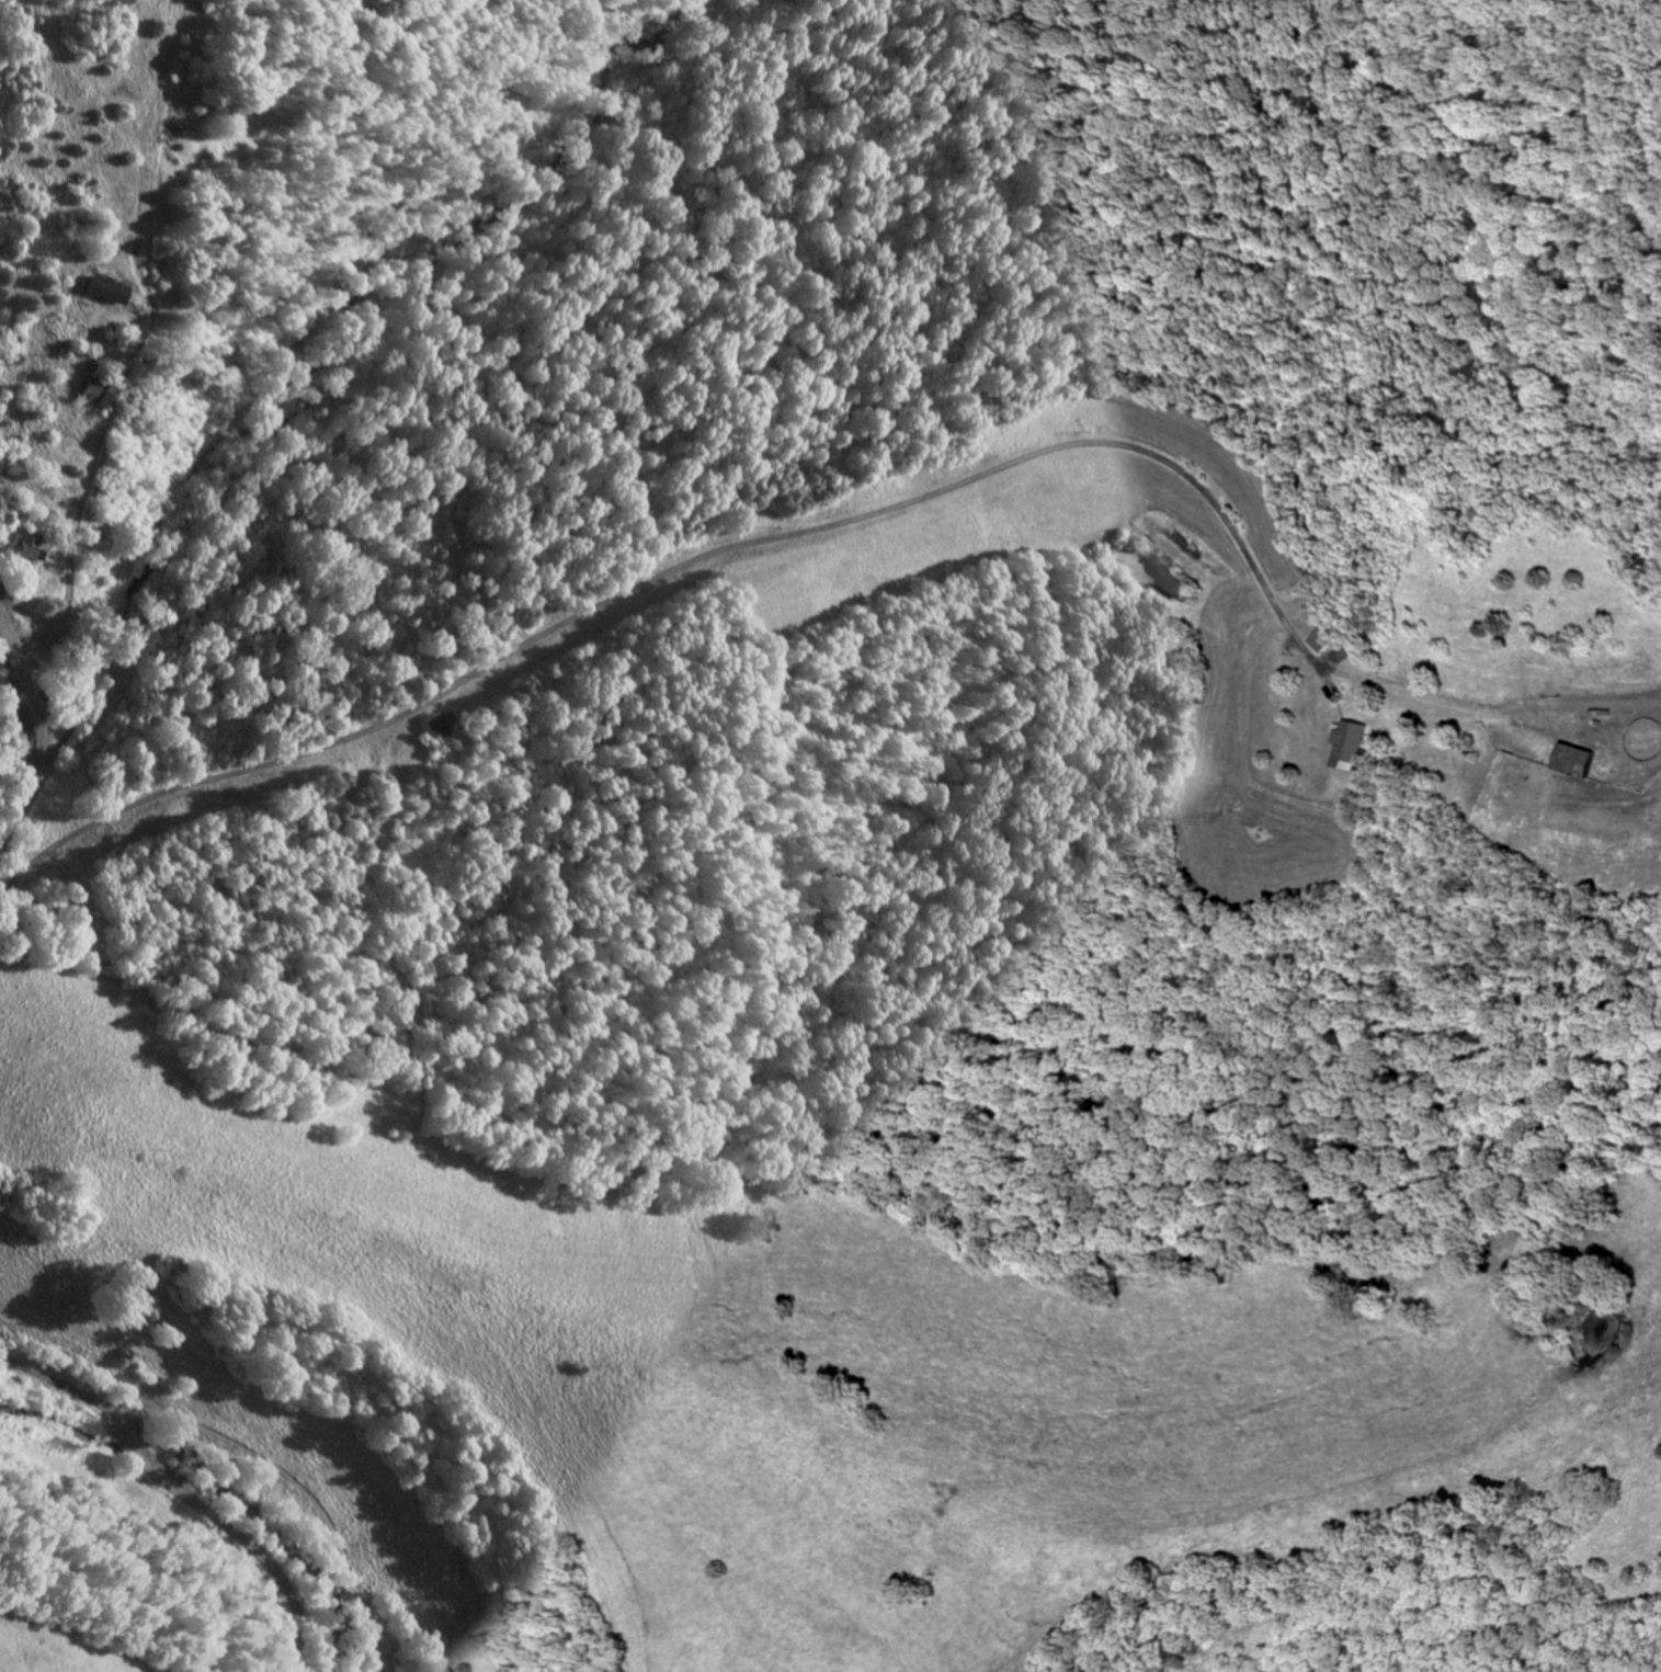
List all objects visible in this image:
building: (111, 289)
building: (100, 393)
road: (737, 527)
building: (29, 547)
building: (1327, 639)
road: (44, 729)
building: (1351, 746)
building: (1580, 759)
road: (181, 1492)

